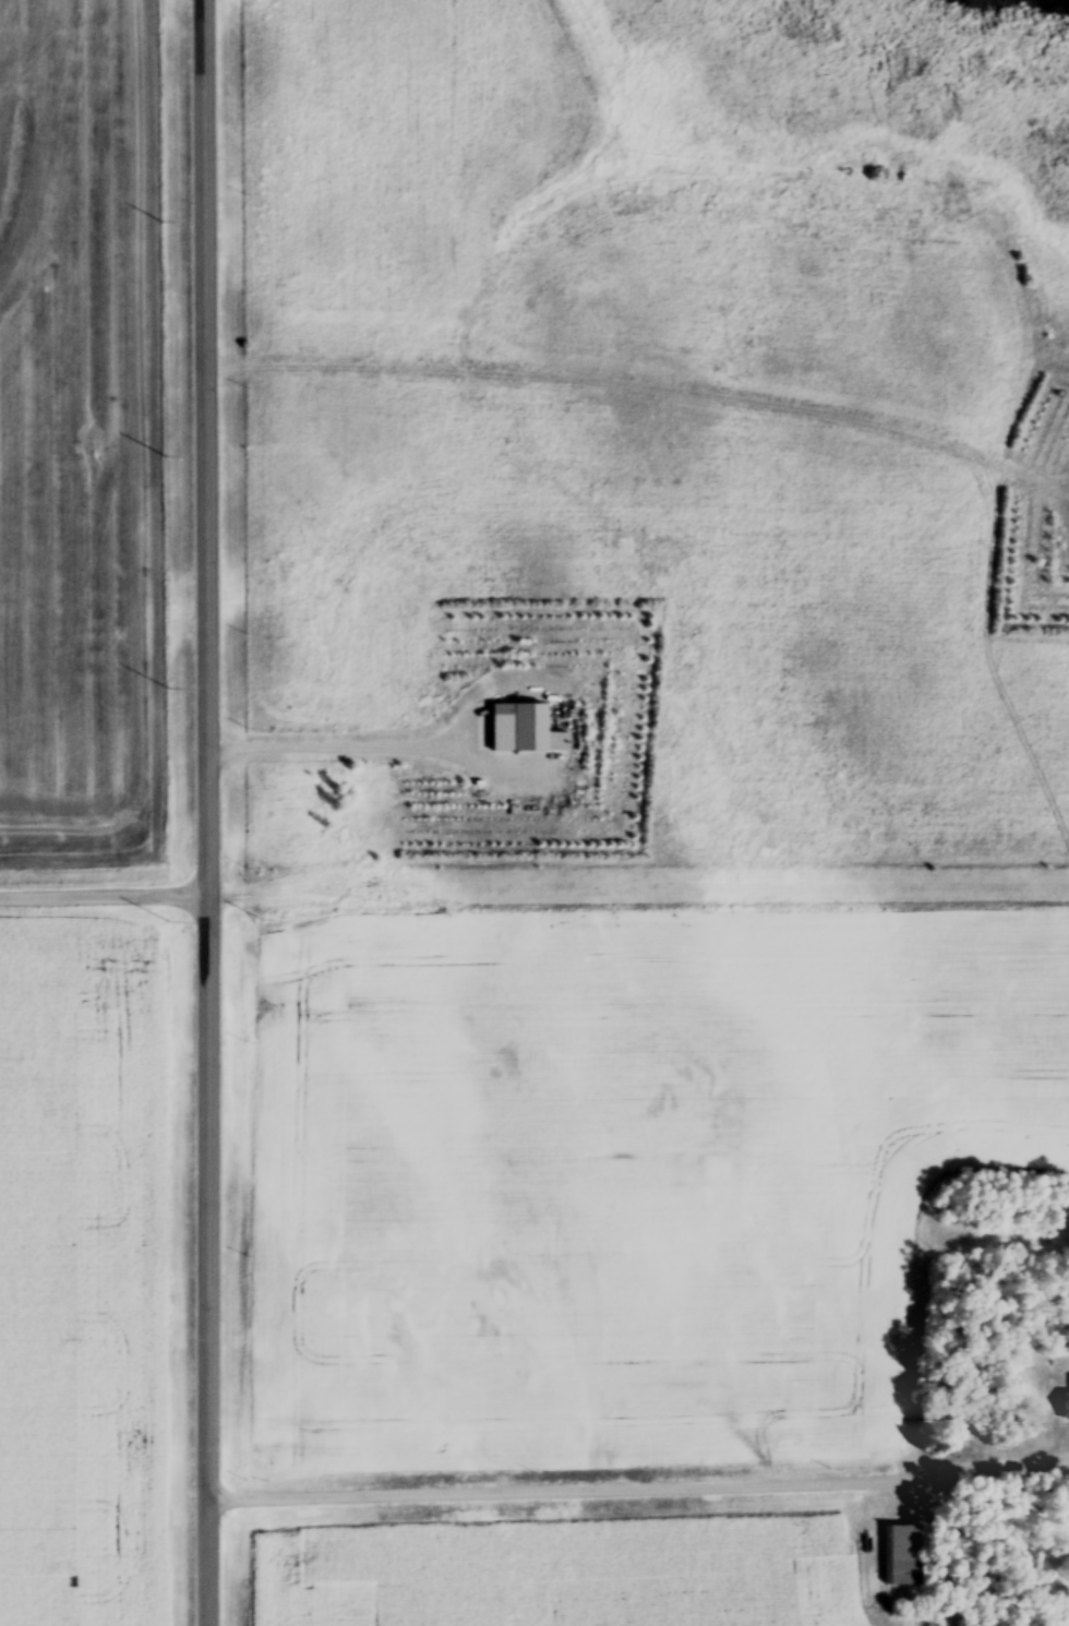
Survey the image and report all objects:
building: (521, 729)
road: (365, 741)
road: (211, 812)
road: (106, 888)
power tower: (528, 923)
power tower: (935, 924)
power tower: (163, 925)
building: (1066, 1408)
road: (639, 1482)
building: (899, 1557)

